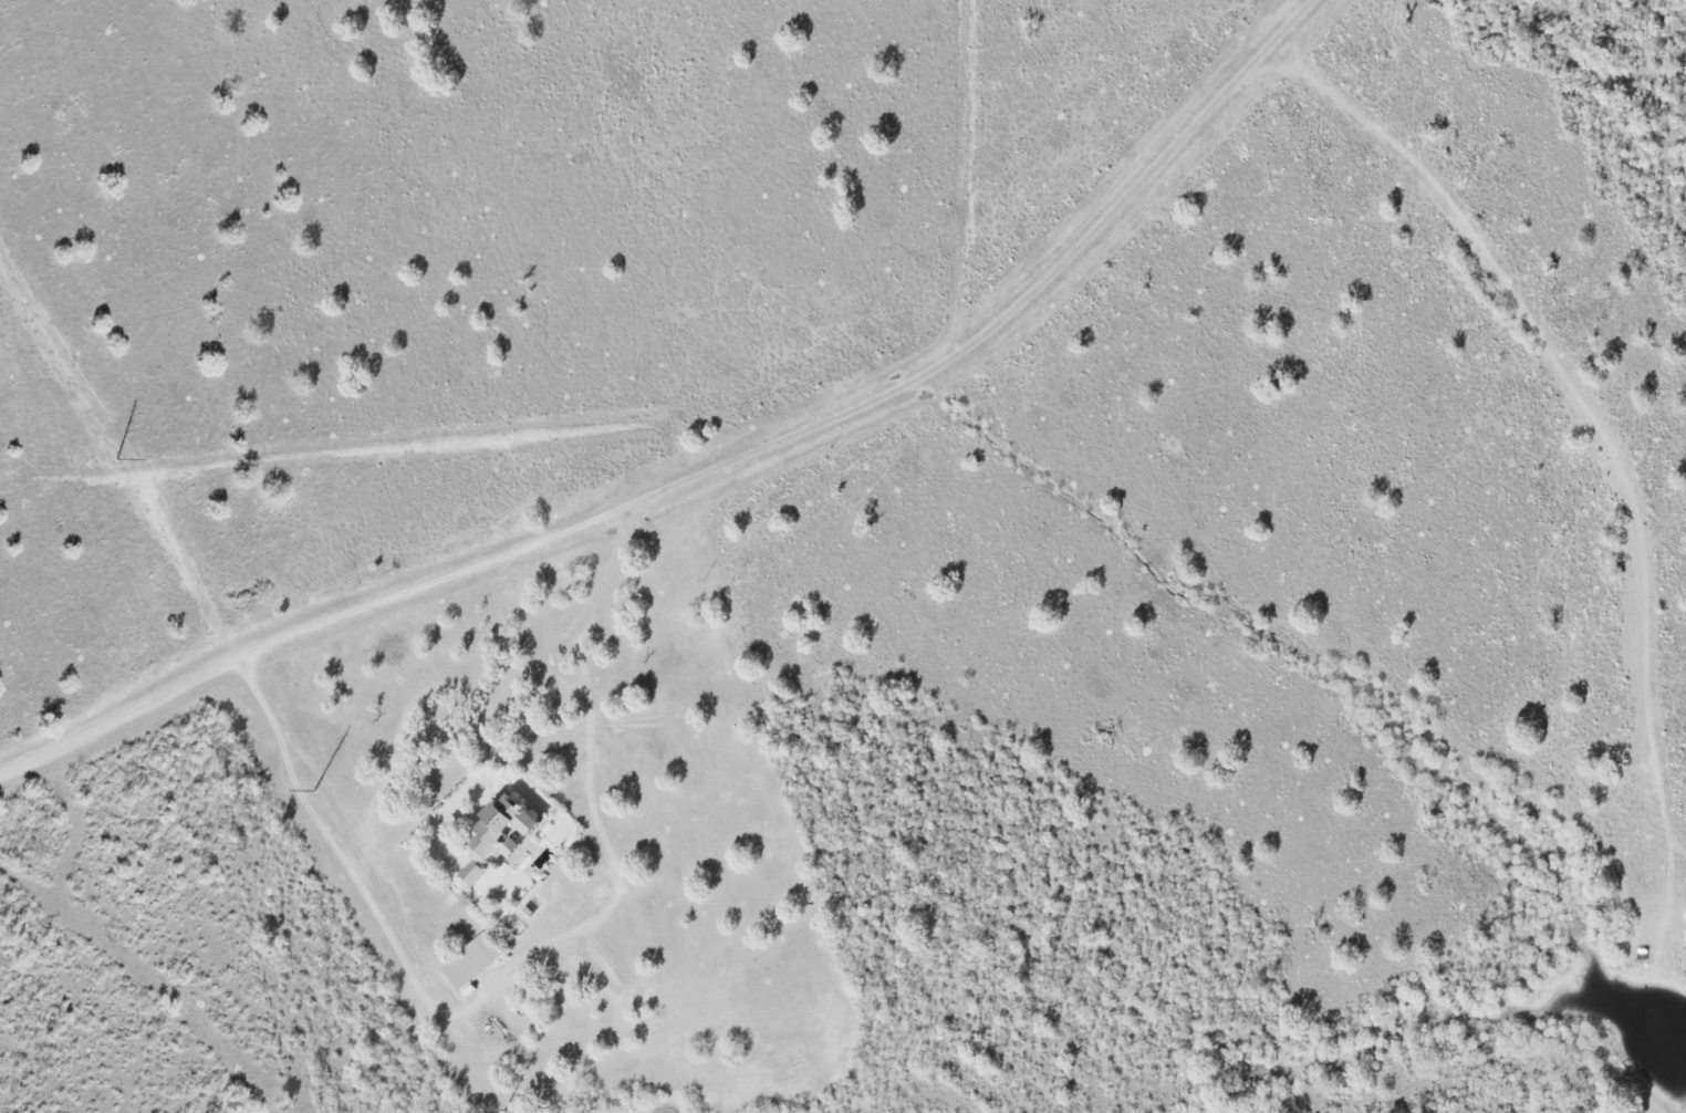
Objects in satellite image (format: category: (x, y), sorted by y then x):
power tower: (116, 458)
road: (710, 462)
power tower: (312, 789)
building: (508, 828)
building: (475, 873)
building: (475, 960)
power tower: (493, 1111)

